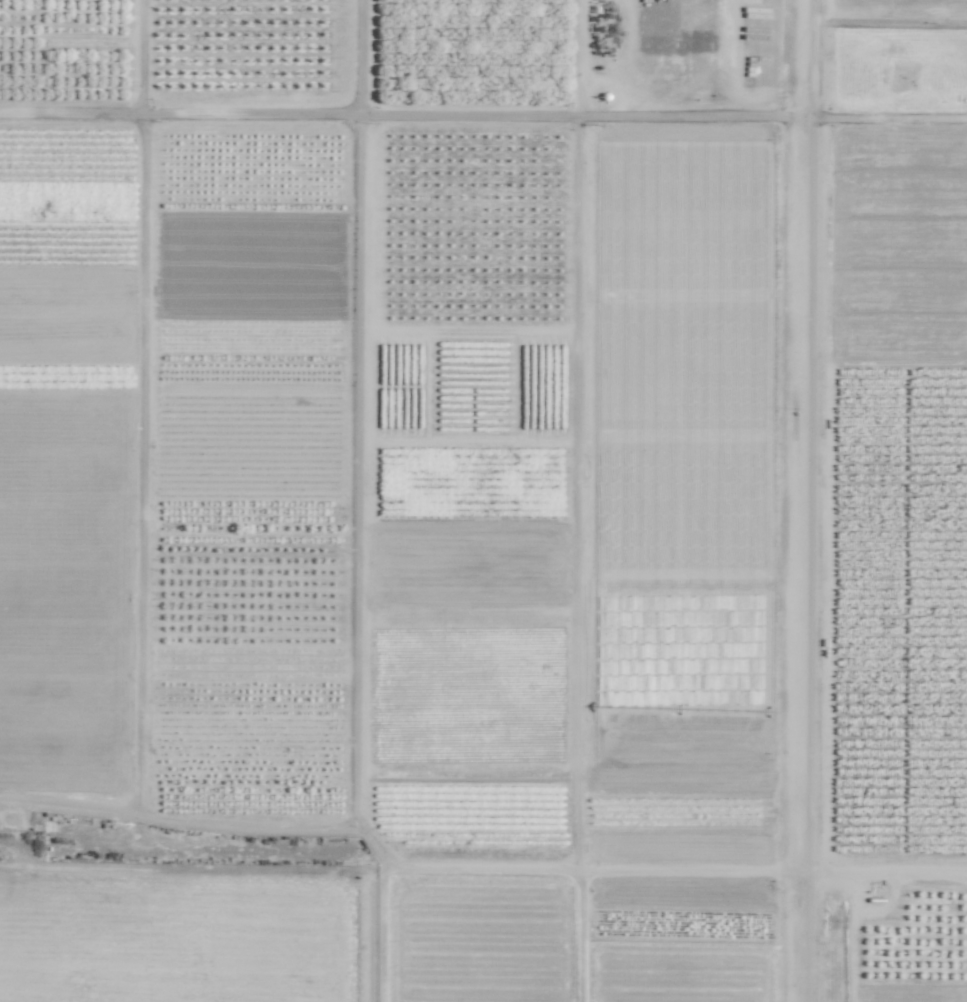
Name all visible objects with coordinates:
road: (483, 115)
road: (356, 413)
road: (574, 433)
airport runway: (804, 500)
road: (476, 863)

